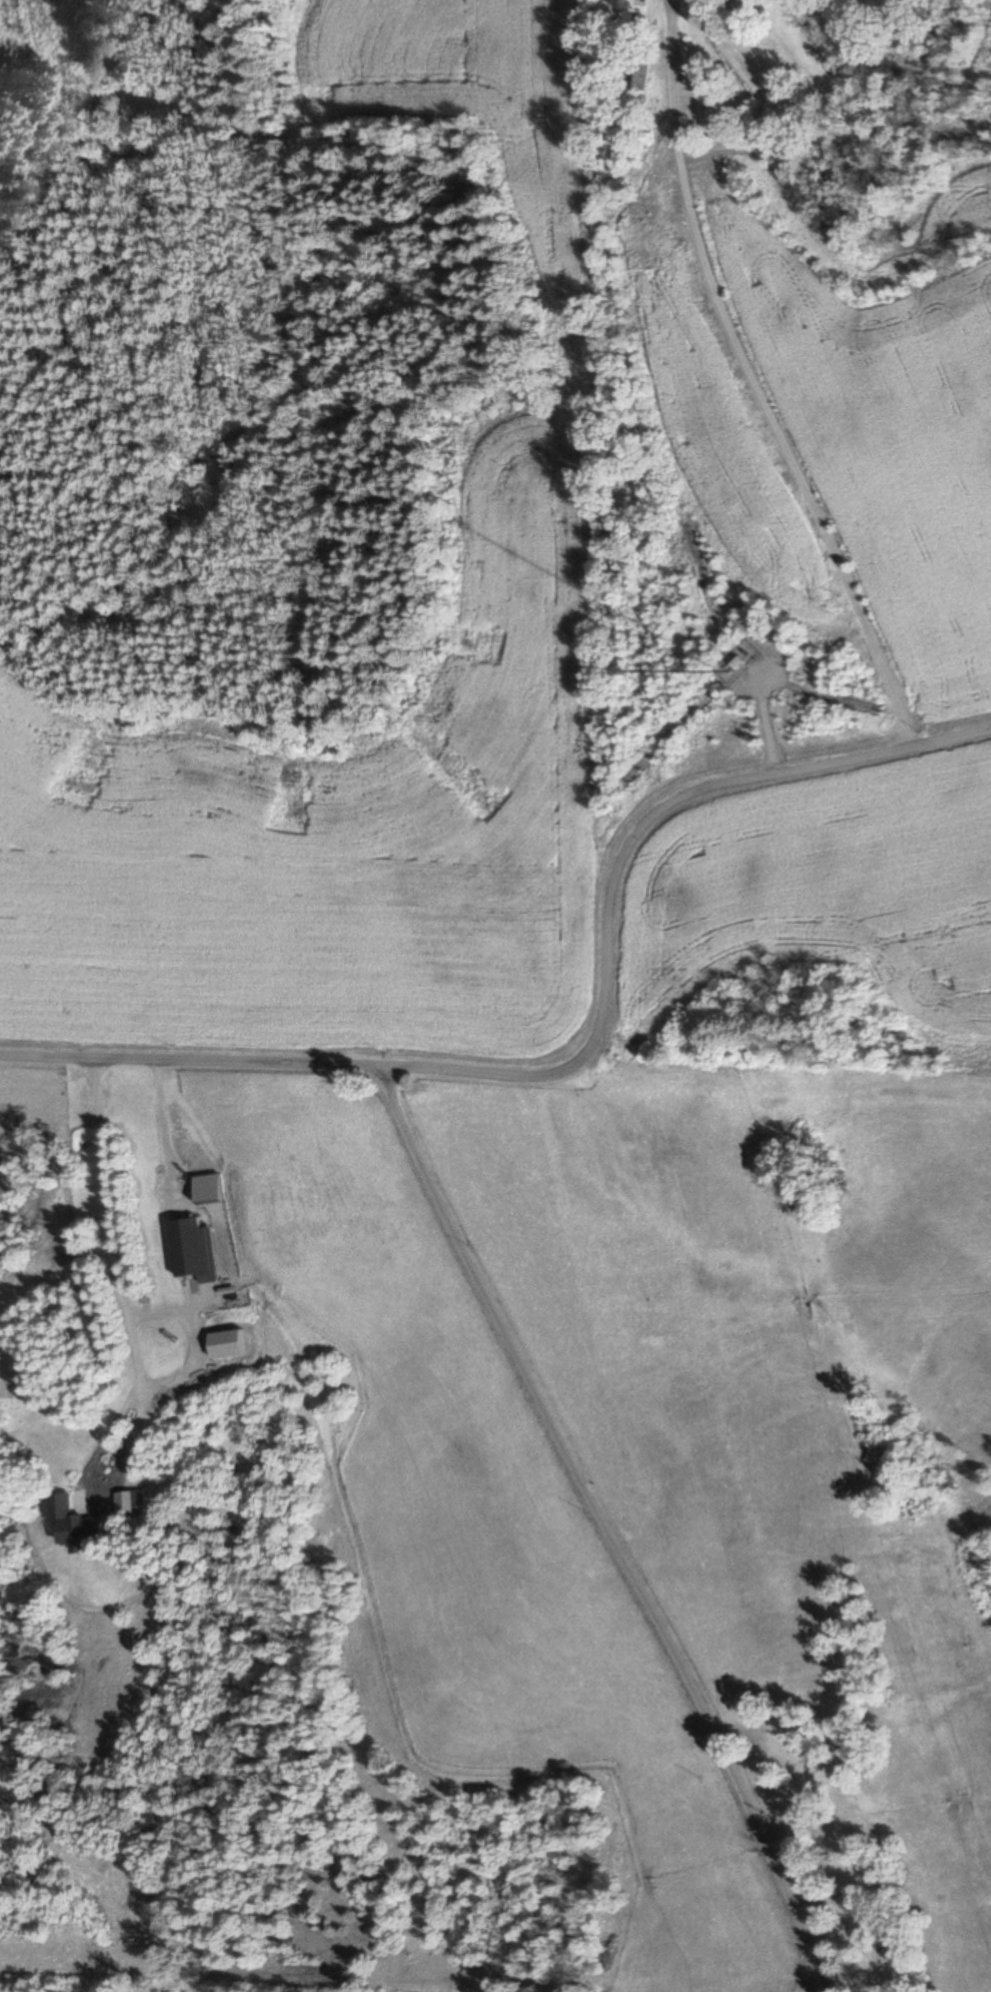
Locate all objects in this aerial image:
building: (639, 72)
road: (744, 390)
road: (589, 1053)
building: (200, 1249)
building: (84, 1525)
road: (592, 1527)

